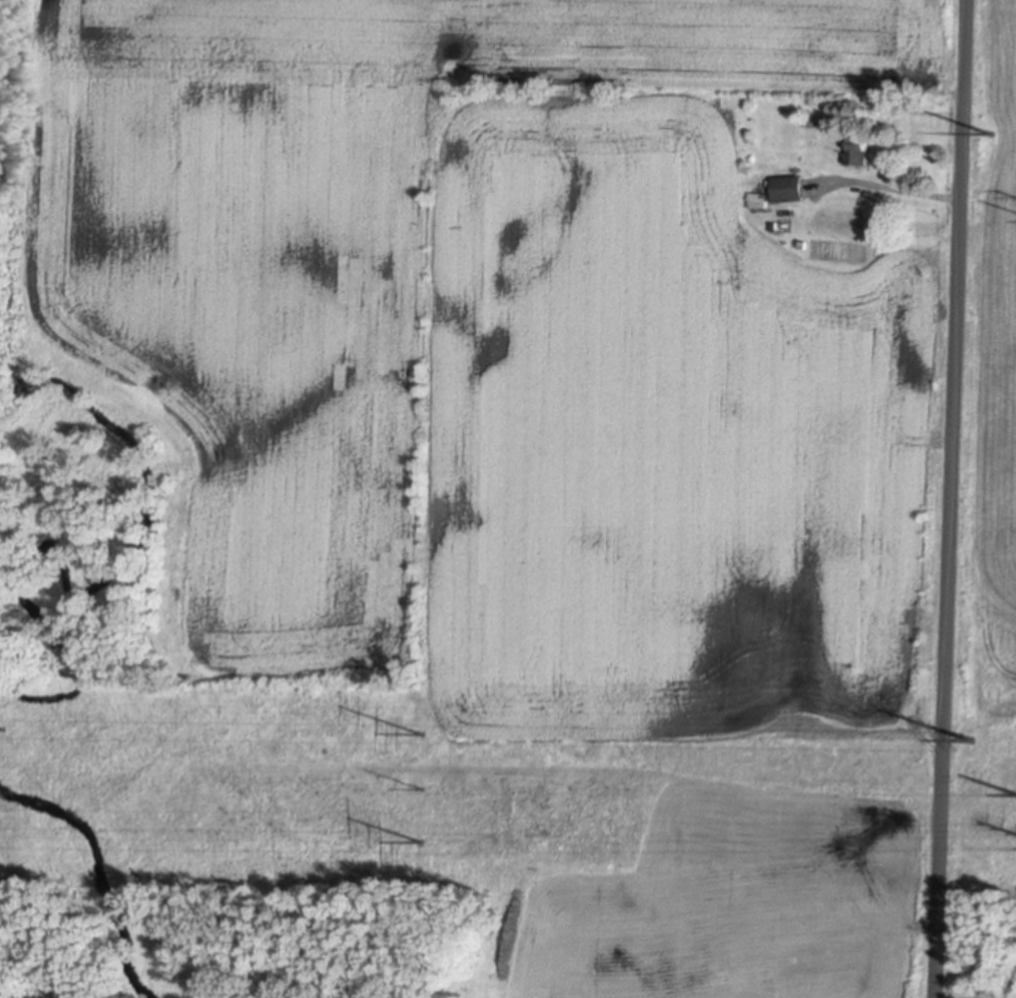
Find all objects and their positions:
power tower: (989, 128)
building: (855, 148)
building: (786, 186)
road: (906, 189)
building: (757, 197)
road: (950, 499)
river: (114, 571)
power tower: (0, 726)
power tower: (423, 729)
power tower: (971, 737)
river: (102, 872)

